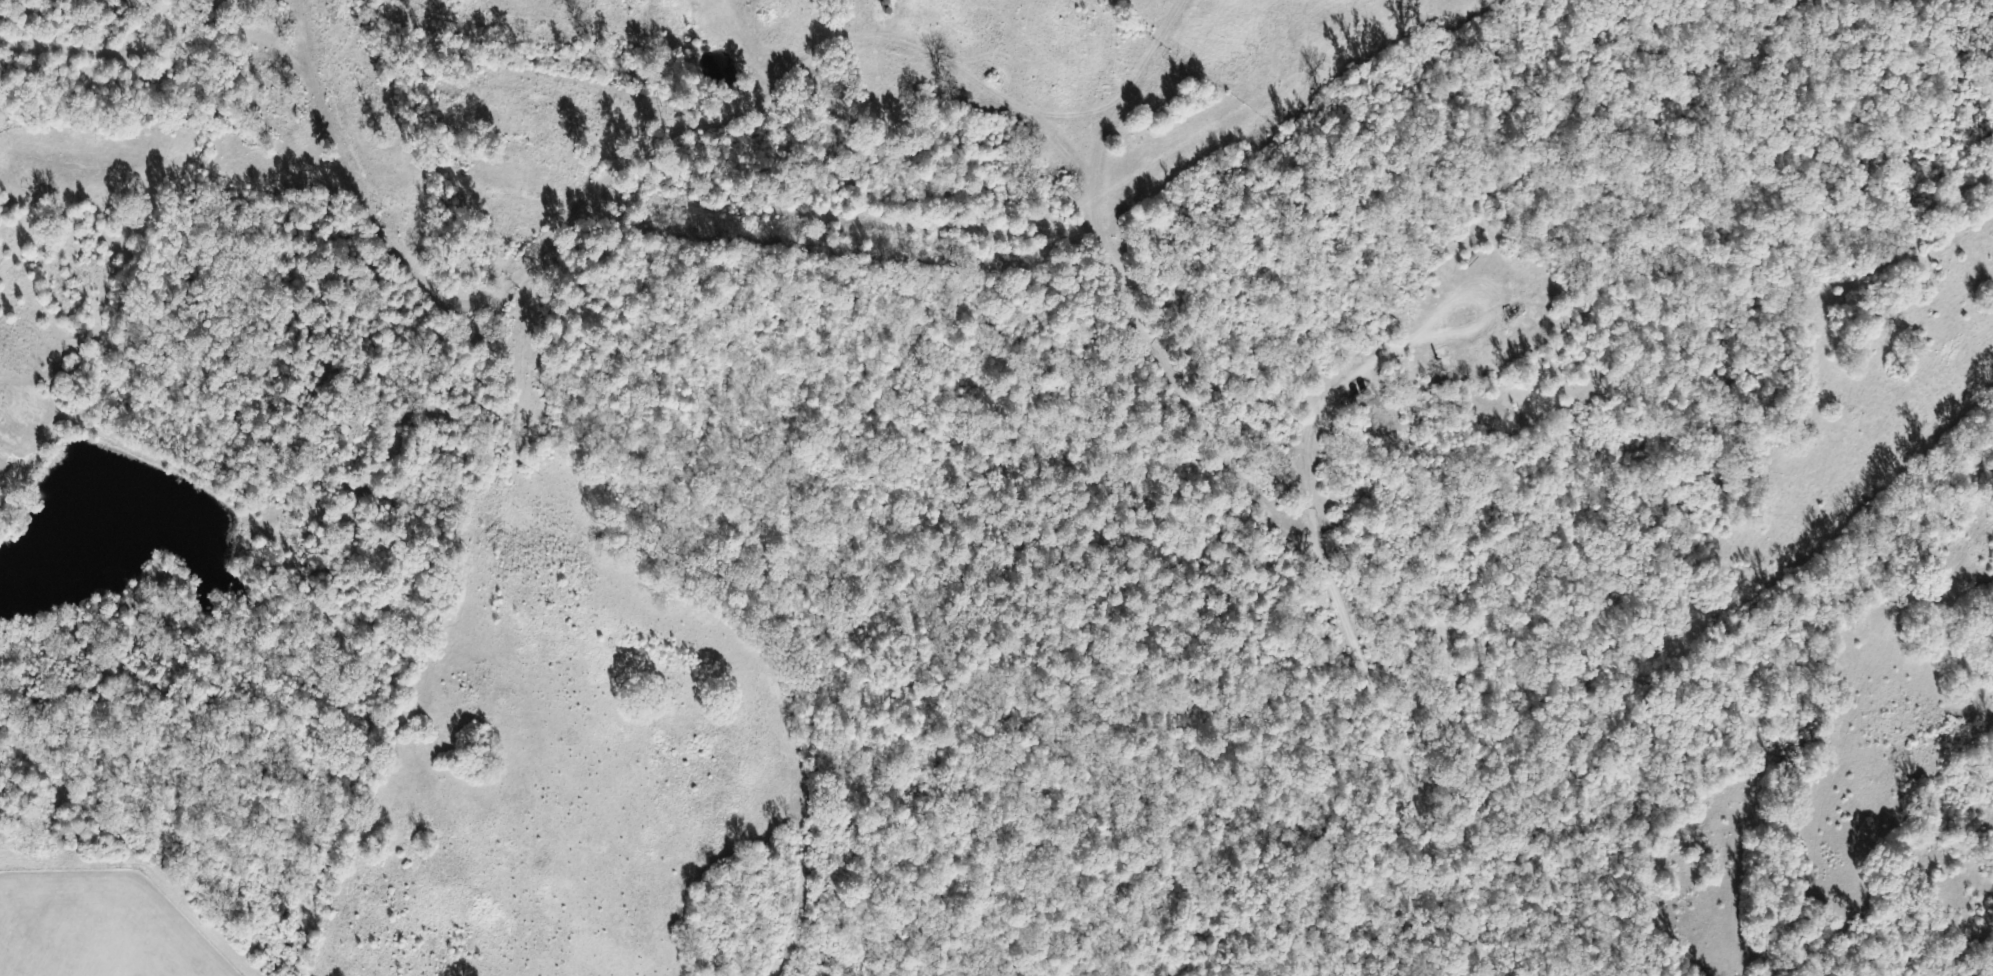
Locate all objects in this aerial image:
road: (1138, 69)
road: (1058, 110)

